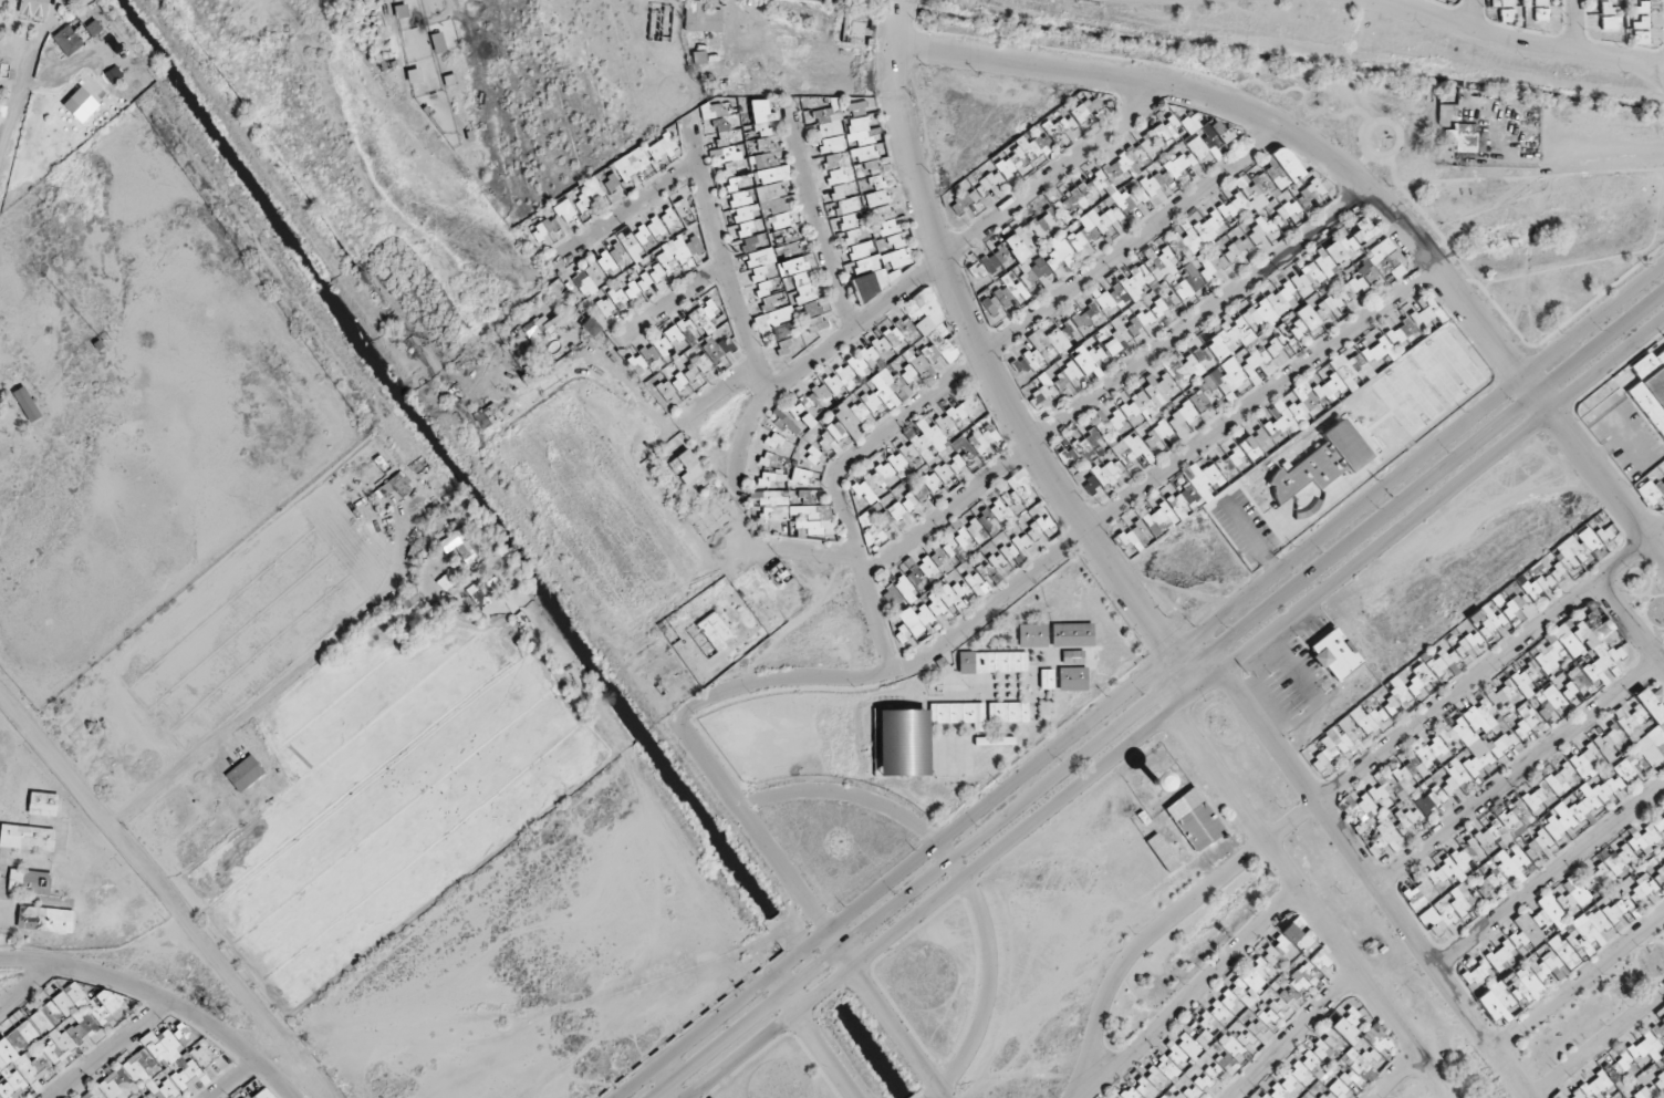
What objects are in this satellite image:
road: (898, 0)
road: (1471, 15)
road: (1577, 27)
road: (1515, 41)
road: (1661, 80)
road: (1583, 158)
road: (1600, 344)
road: (1606, 364)
road: (1614, 447)
road: (1600, 474)
park: (1646, 590)
road: (1632, 623)
road: (1143, 683)
road: (1337, 788)
road: (1579, 983)
park: (1593, 1007)

